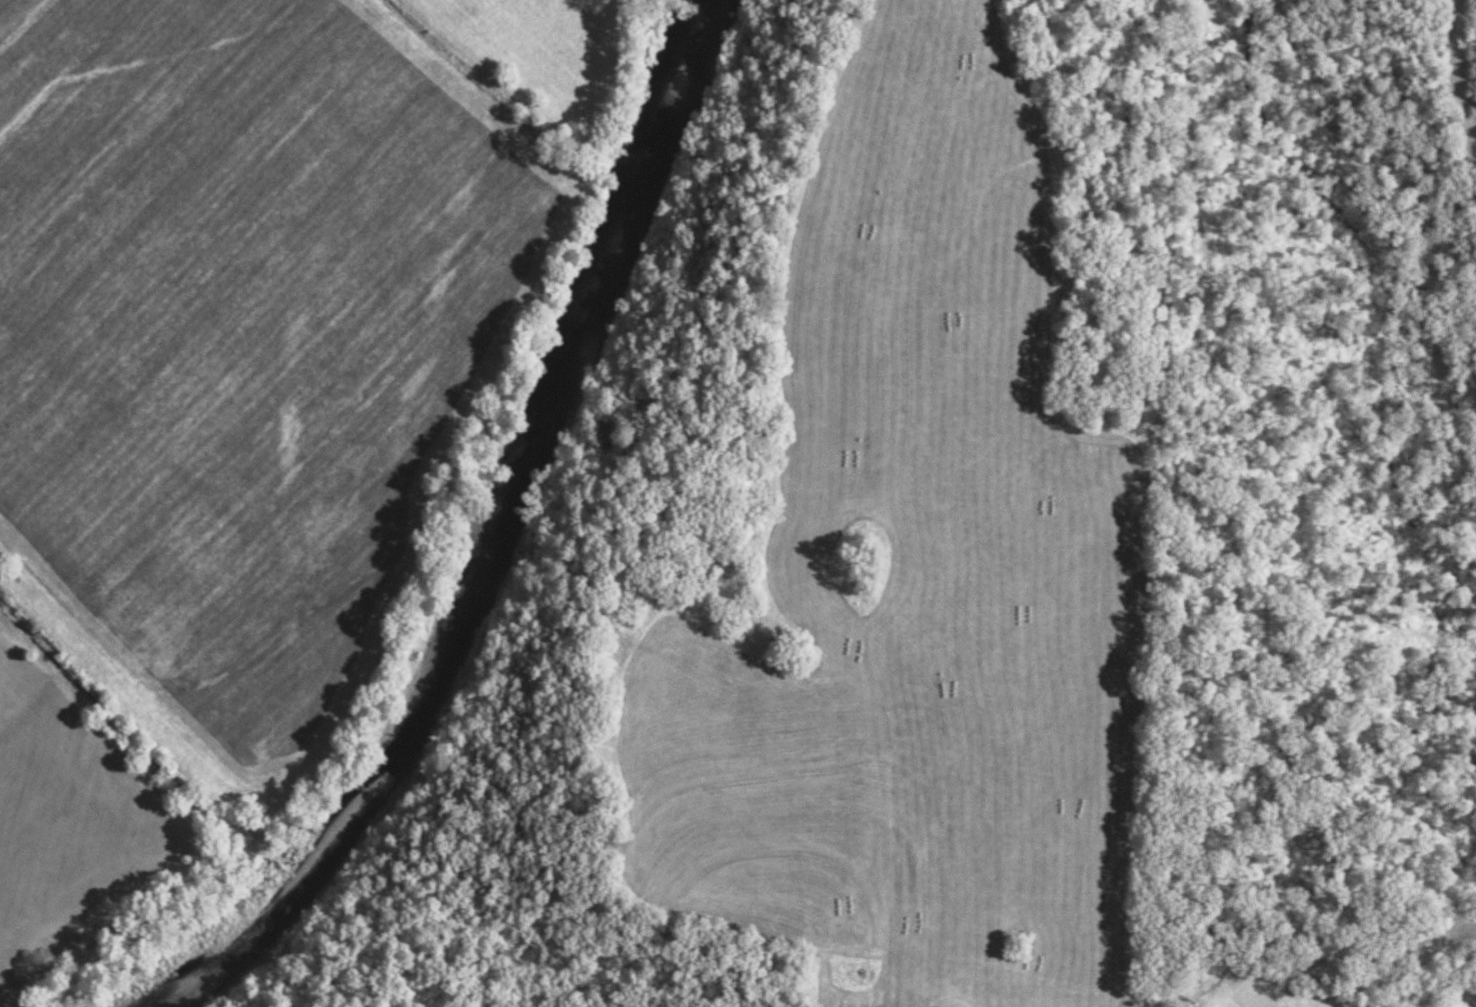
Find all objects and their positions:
river: (499, 550)

